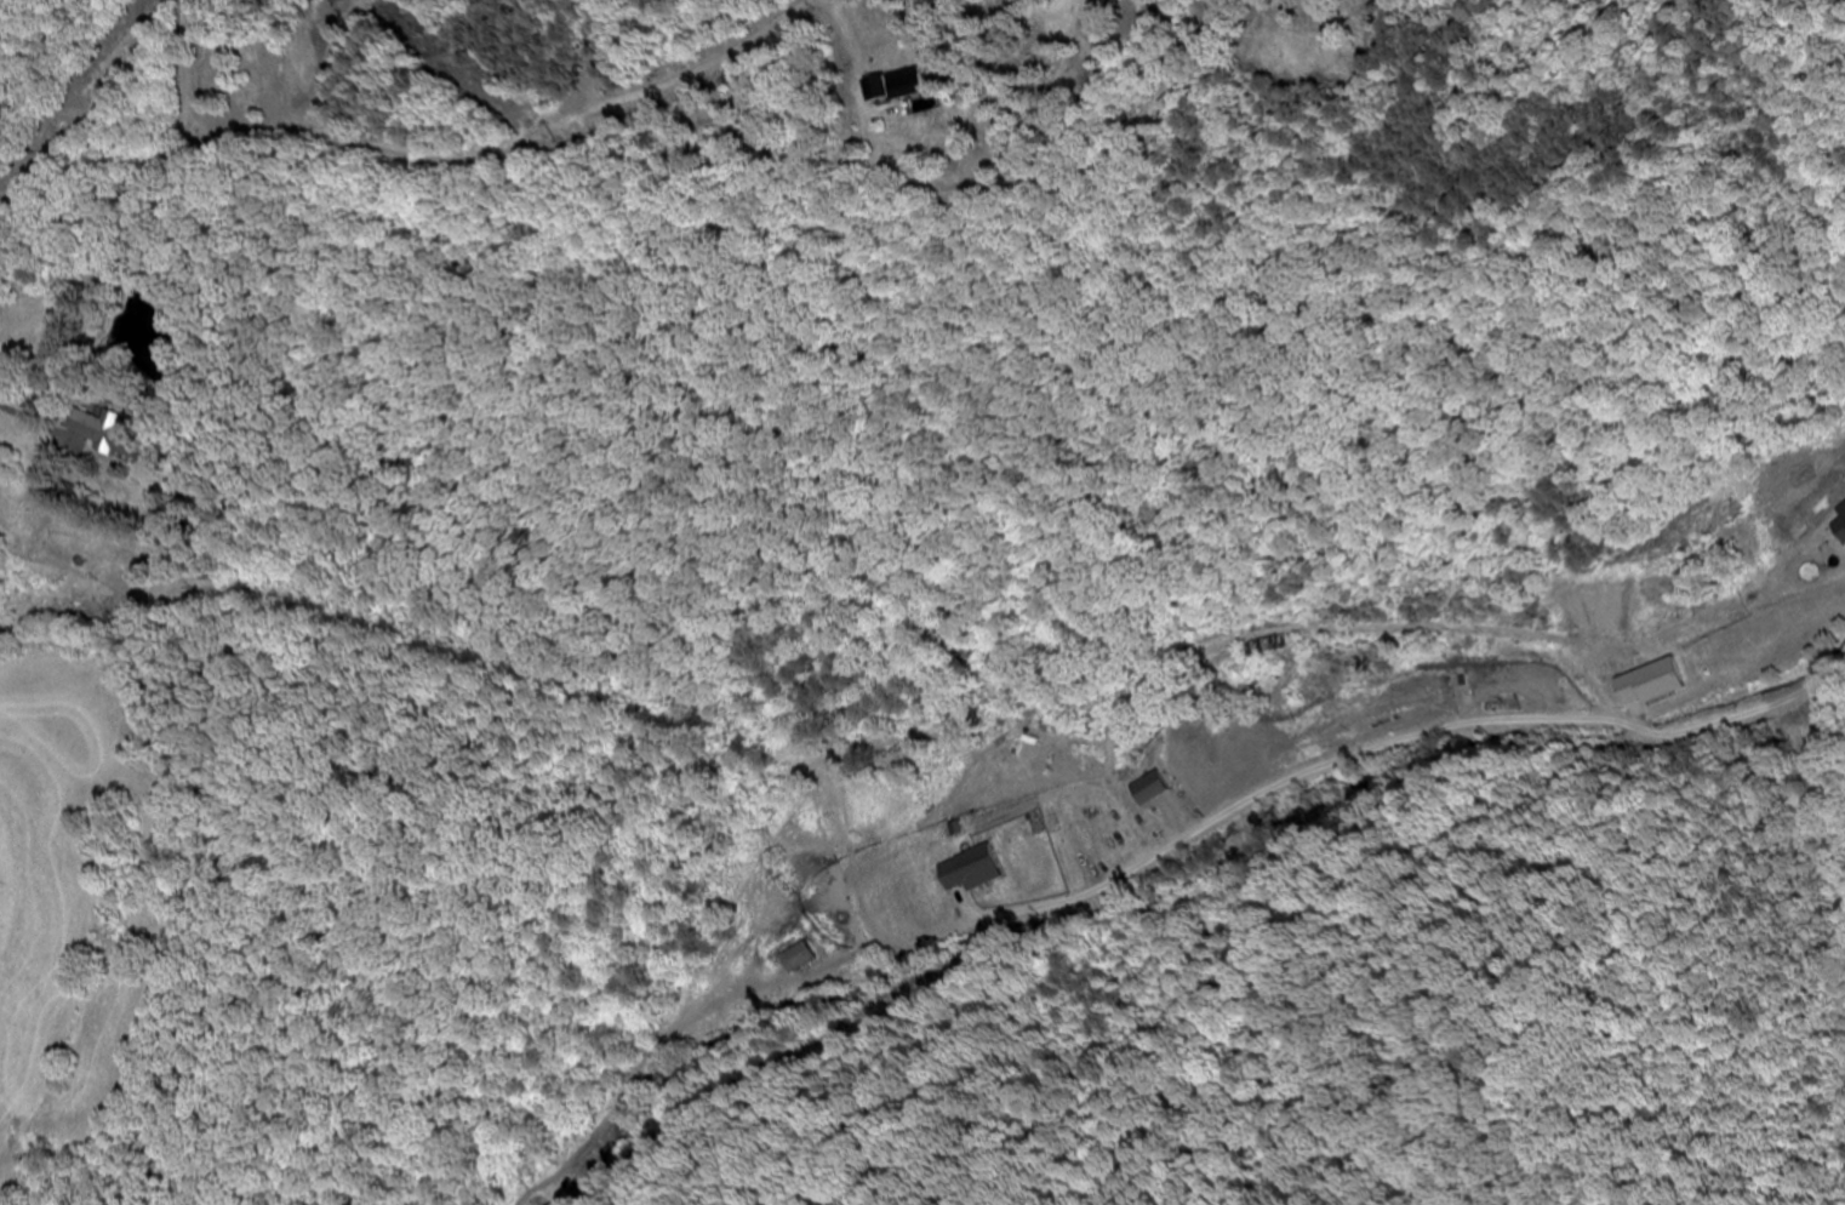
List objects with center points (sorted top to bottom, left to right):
building: (908, 86)
road: (147, 175)
building: (108, 428)
building: (1270, 647)
building: (1669, 674)
building: (1156, 789)
building: (1038, 830)

